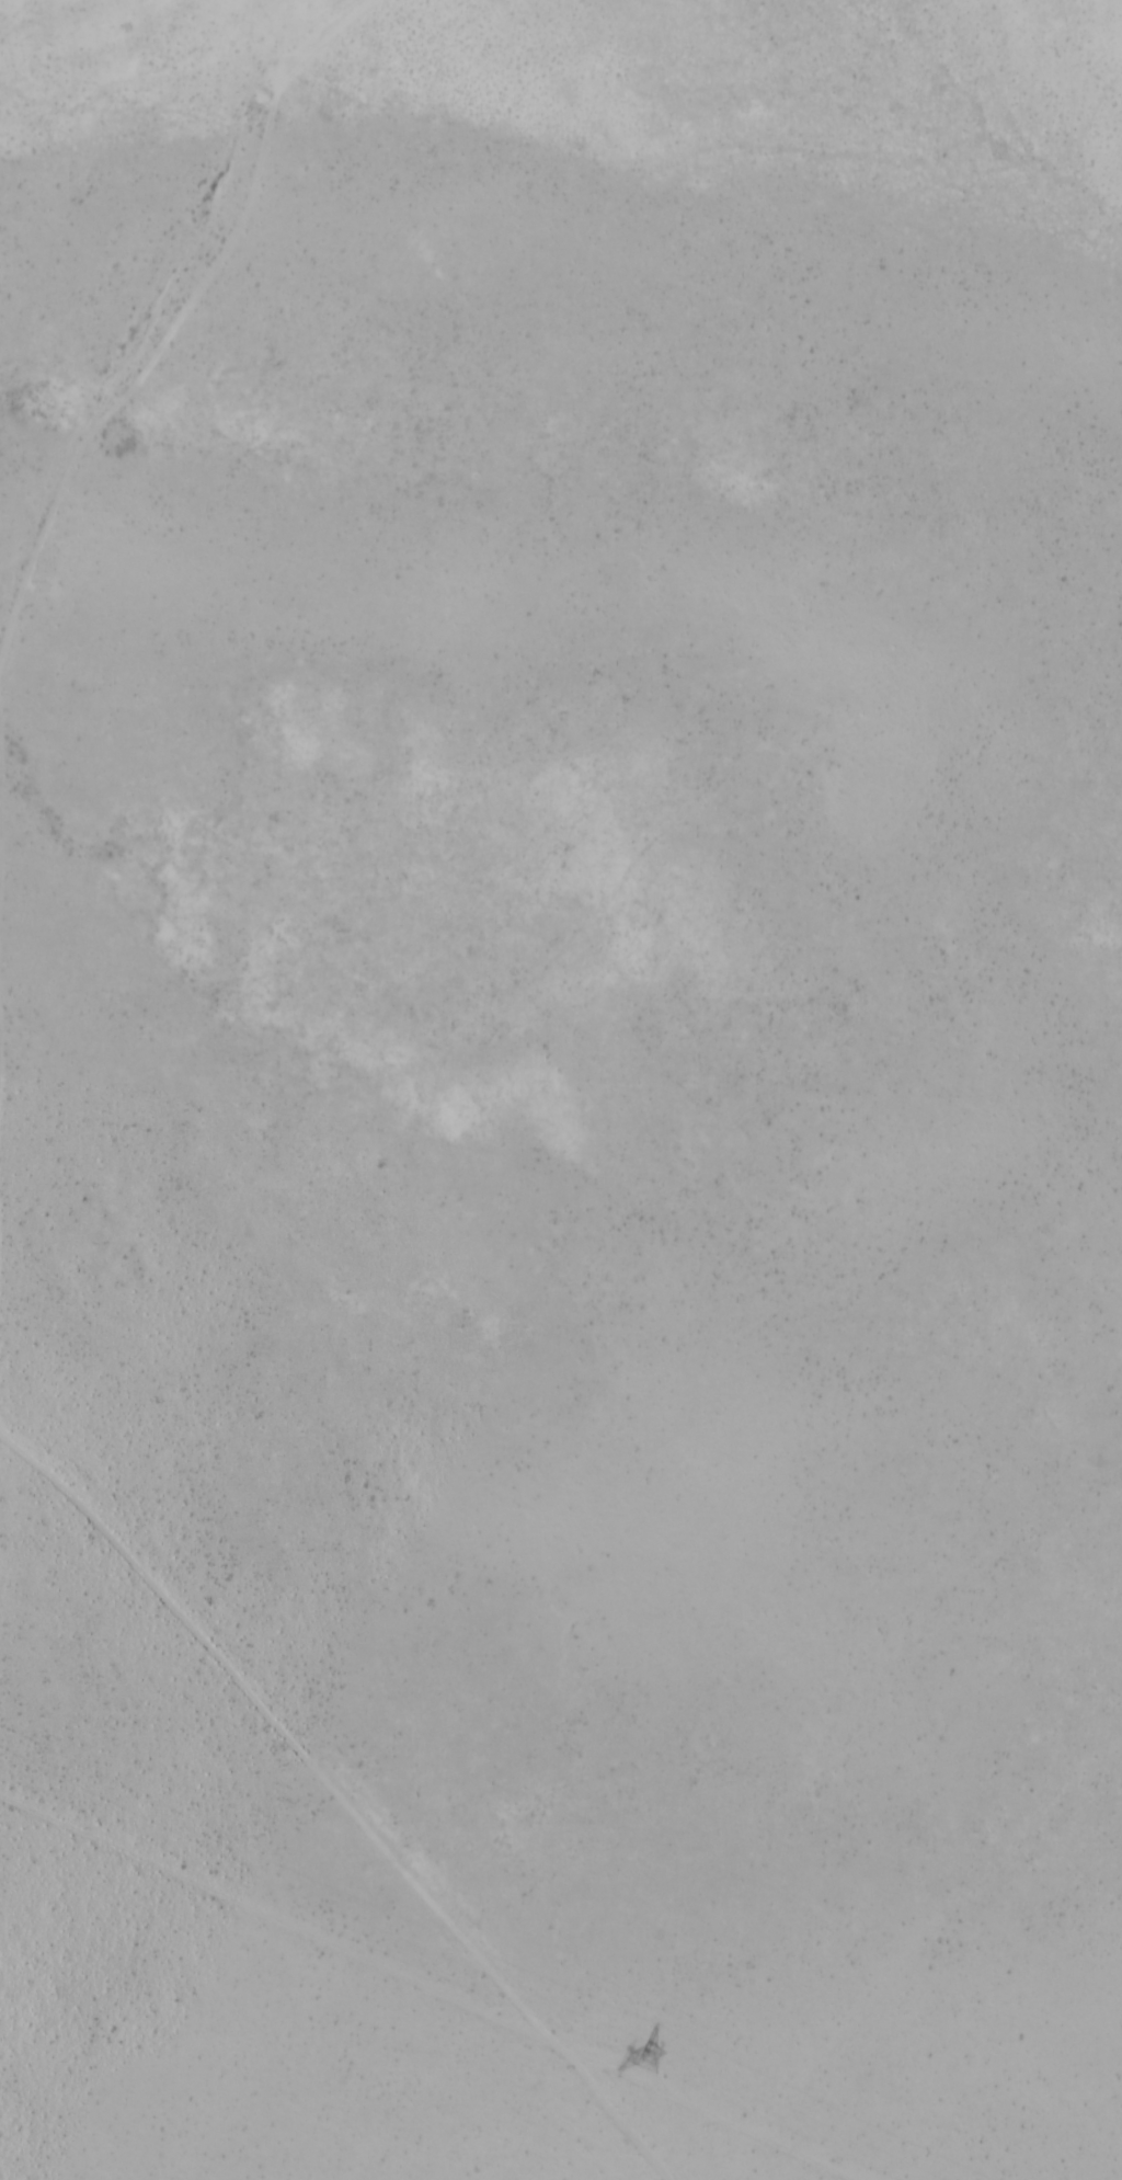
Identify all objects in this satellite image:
road: (112, 209)
power tower: (666, 2059)

